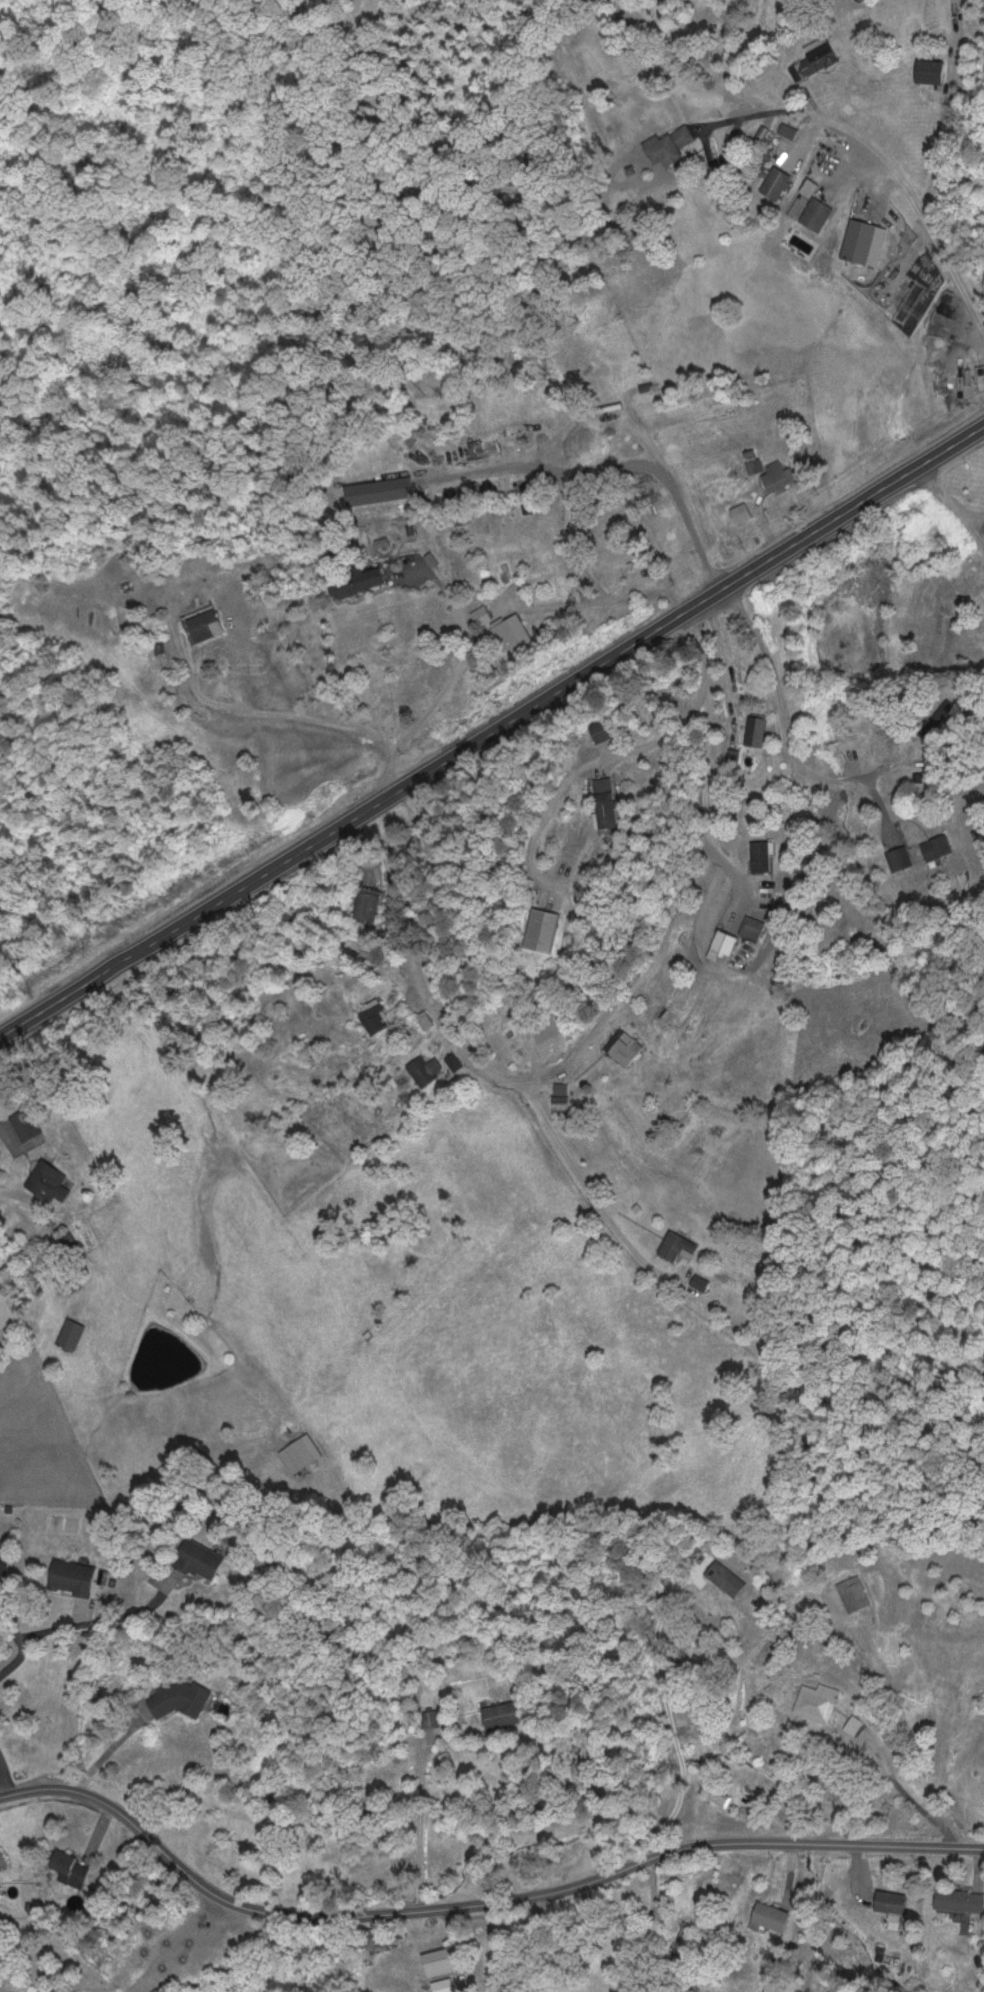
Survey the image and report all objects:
building: (815, 57)
building: (931, 69)
building: (788, 130)
building: (669, 144)
building: (779, 179)
building: (800, 201)
road: (917, 202)
building: (817, 213)
building: (864, 241)
road: (675, 266)
road: (782, 306)
road: (609, 468)
building: (779, 475)
road: (945, 497)
building: (741, 511)
road: (973, 528)
building: (356, 578)
road: (920, 588)
road: (345, 605)
building: (485, 615)
building: (205, 622)
building: (514, 633)
road: (271, 716)
road: (491, 728)
building: (606, 728)
building: (757, 730)
road: (783, 731)
road: (742, 747)
building: (607, 801)
building: (938, 846)
building: (761, 856)
building: (900, 858)
building: (366, 903)
building: (753, 927)
building: (545, 930)
building: (723, 946)
road: (416, 960)
building: (376, 1018)
building: (624, 1046)
building: (454, 1060)
building: (426, 1069)
building: (561, 1105)
road: (489, 1113)
building: (26, 1123)
building: (49, 1181)
road: (596, 1199)
building: (677, 1246)
building: (701, 1282)
building: (70, 1334)
building: (259, 1425)
building: (202, 1557)
building: (5, 1563)
building: (73, 1575)
building: (726, 1576)
building: (853, 1593)
road: (20, 1646)
building: (180, 1695)
building: (816, 1700)
building: (502, 1714)
building: (429, 1717)
road: (3, 1782)
building: (70, 1864)
building: (0, 1877)
building: (960, 1899)
building: (892, 1900)
road: (475, 1902)
building: (771, 1917)
building: (378, 1936)
building: (682, 1937)
building: (441, 1961)

